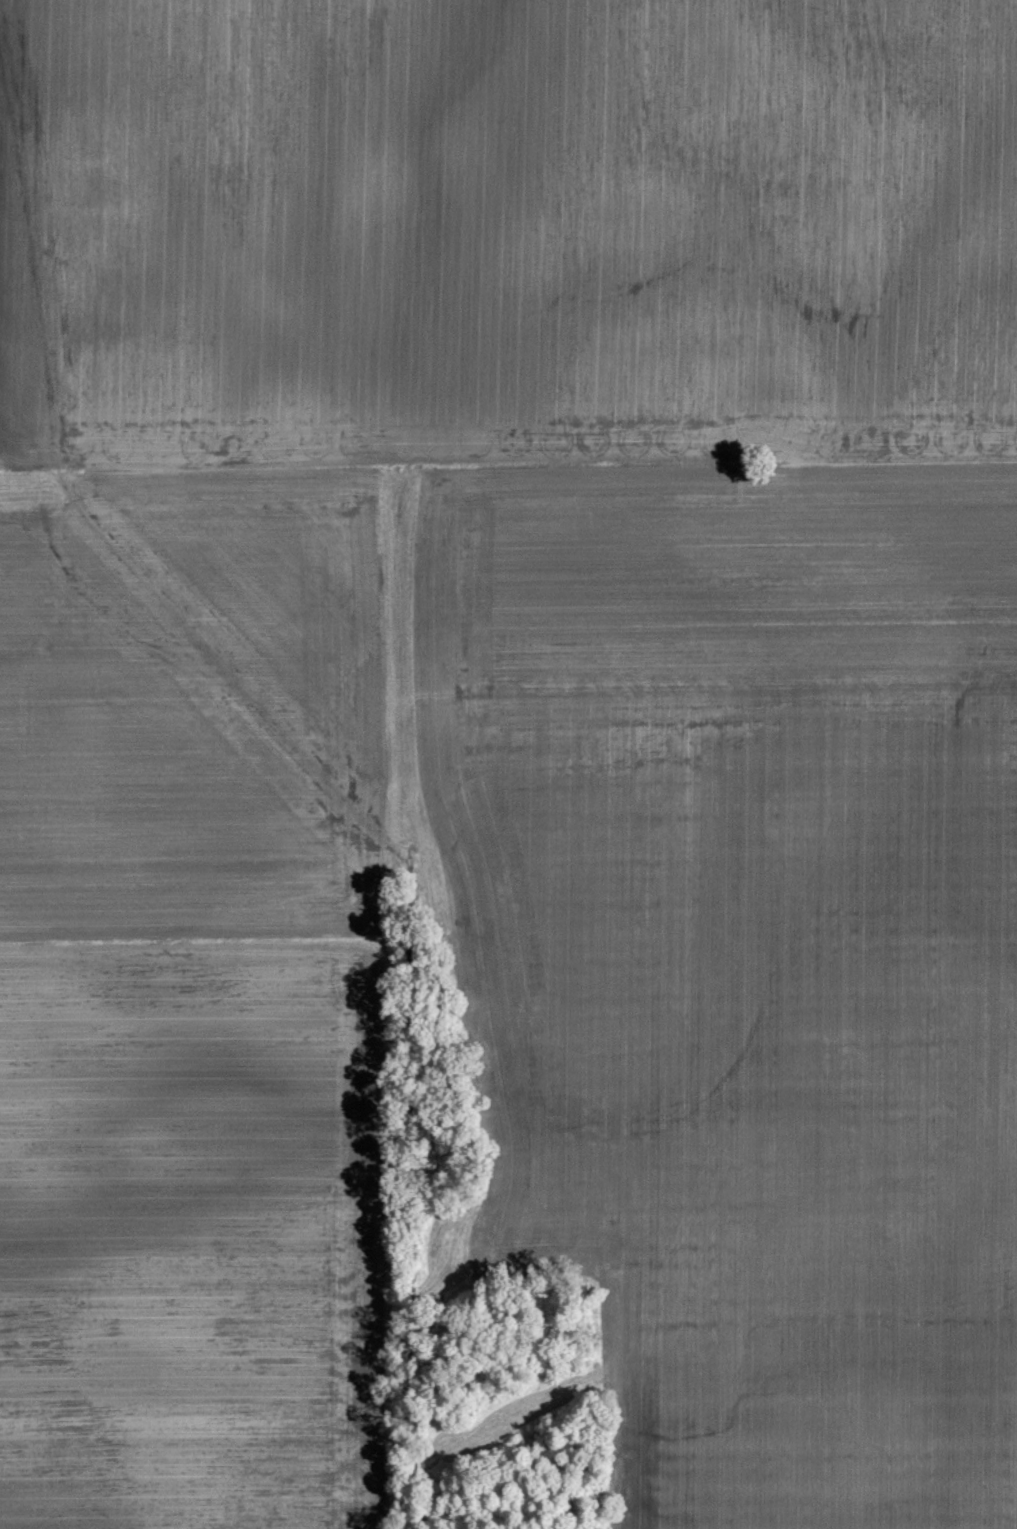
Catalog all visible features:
crop: (510, 739)

